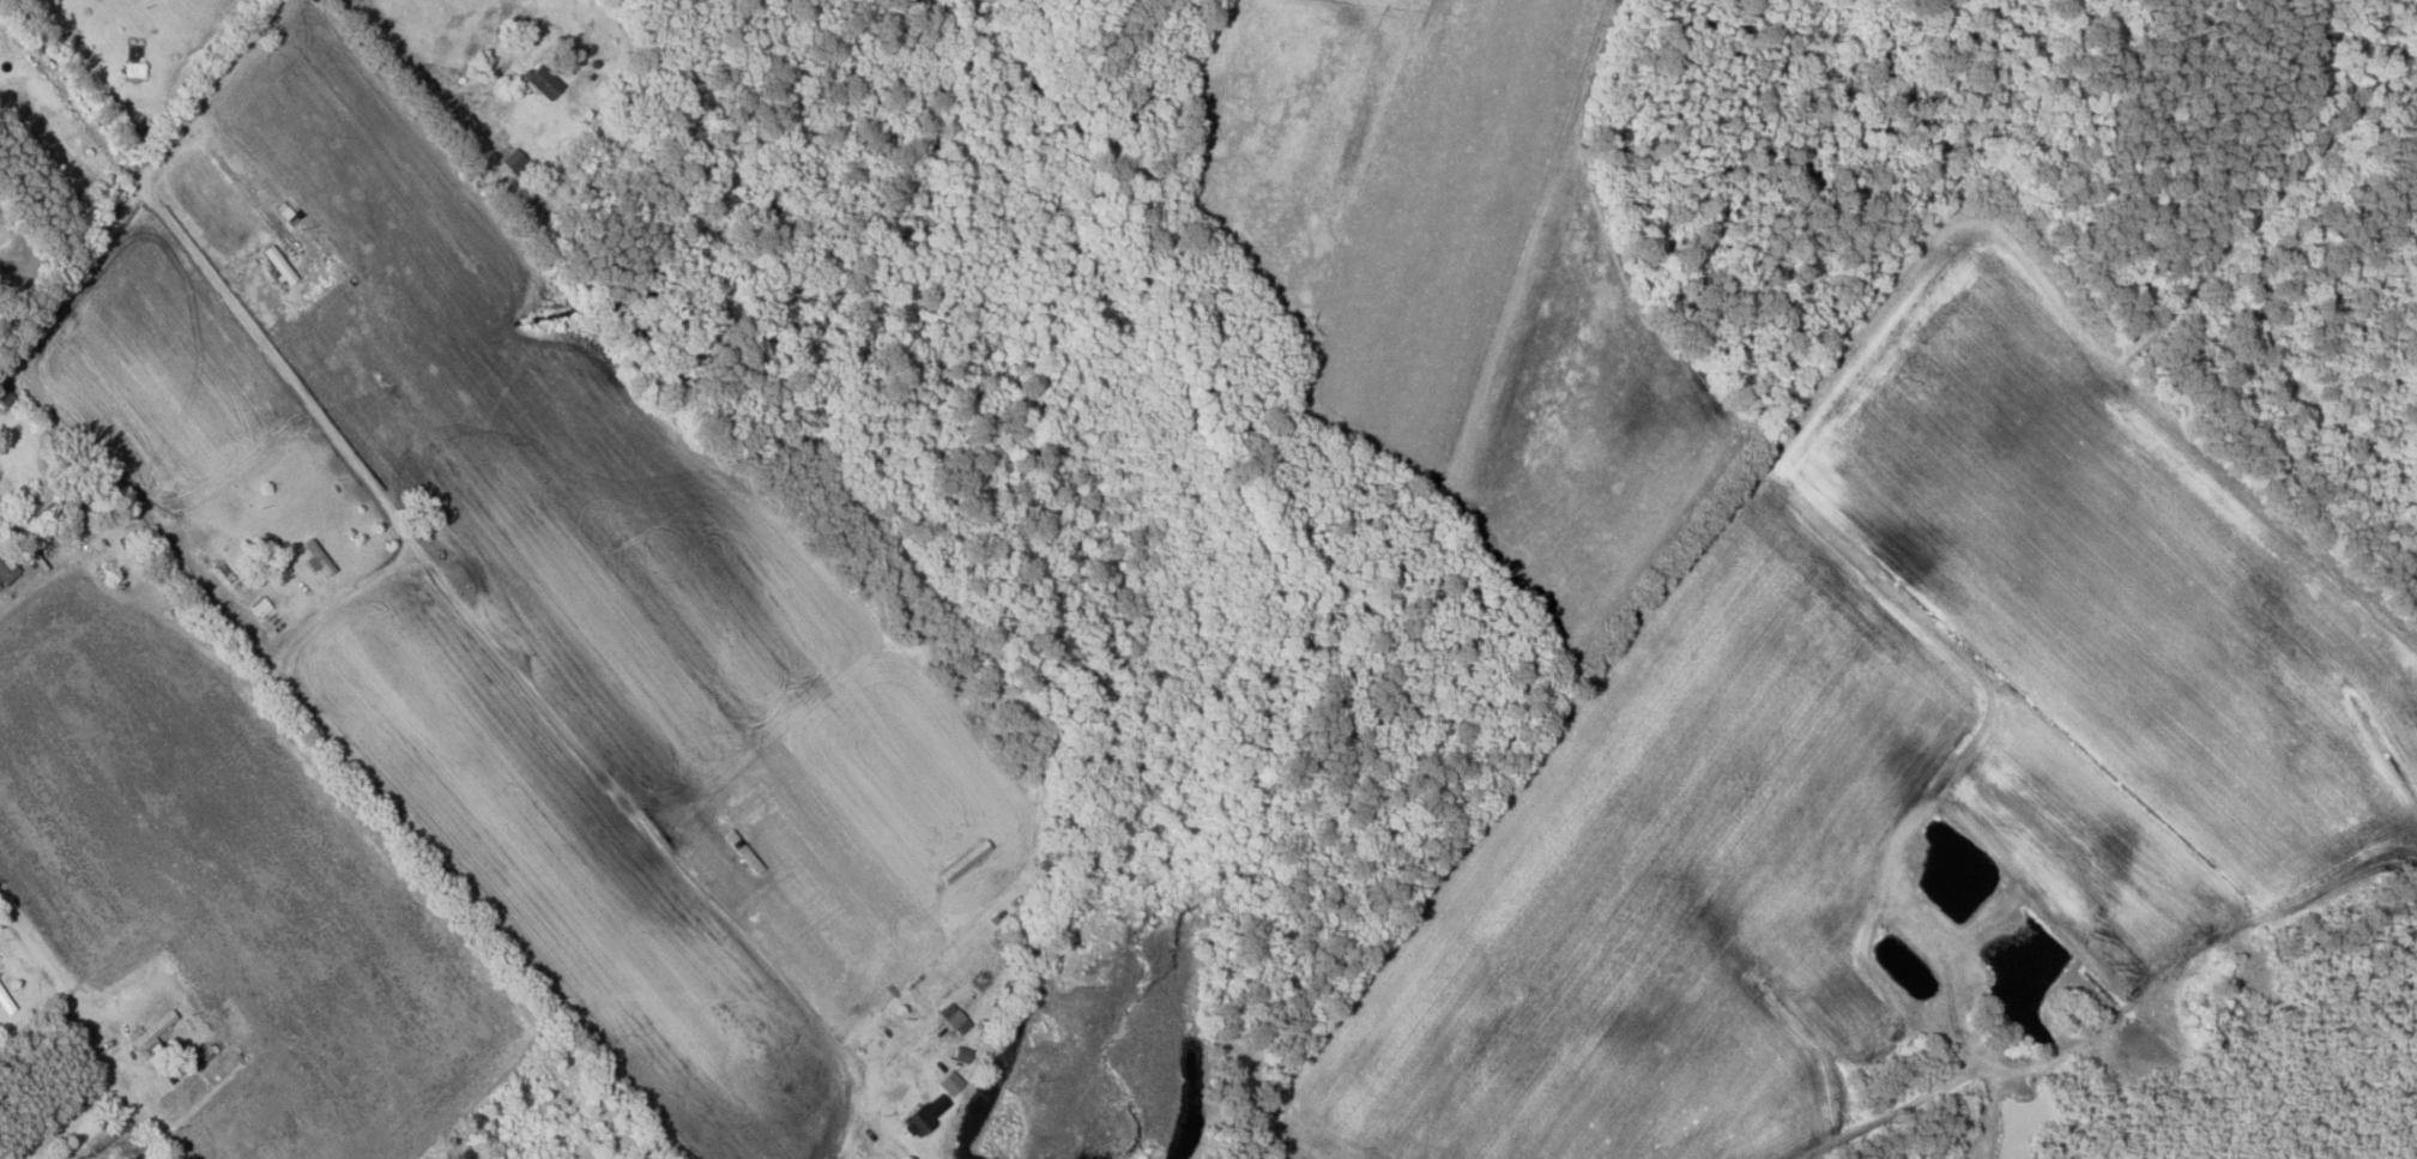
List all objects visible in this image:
building: (545, 82)
road: (211, 90)
building: (516, 161)
building: (7, 396)
building: (297, 519)
building: (7, 568)
road: (491, 645)
road: (14, 931)
building: (955, 1019)
building: (156, 1030)

